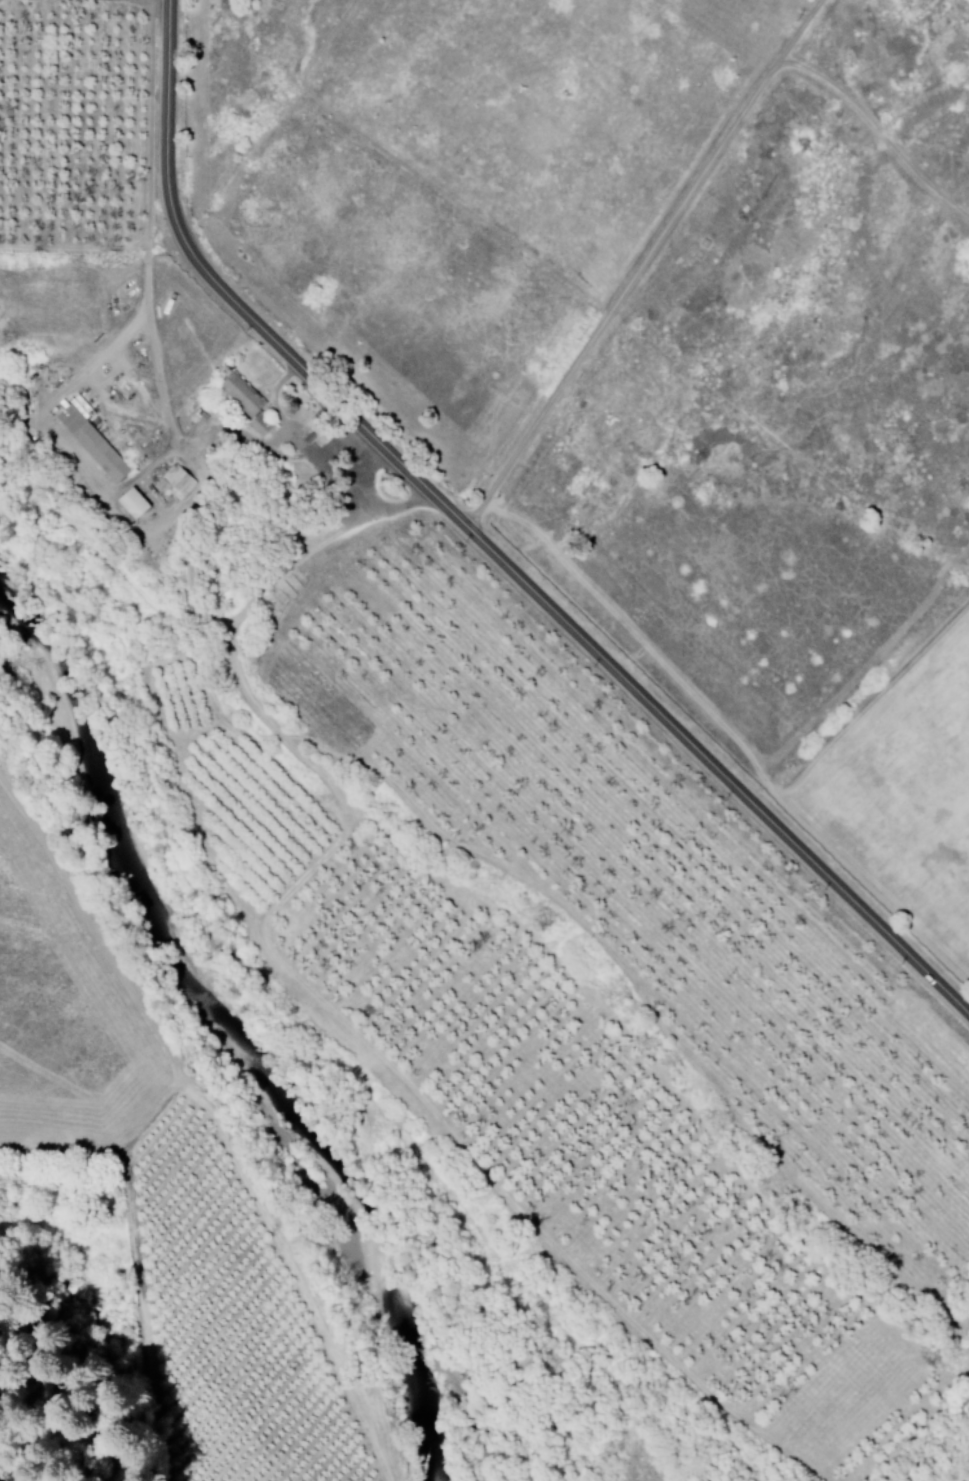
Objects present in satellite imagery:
road: (647, 265)
road: (718, 391)
building: (238, 394)
building: (313, 429)
building: (88, 442)
road: (319, 451)
building: (173, 483)
road: (365, 496)
building: (128, 504)
road: (486, 546)
river: (231, 1075)
road: (140, 1262)
road: (23, 1411)

